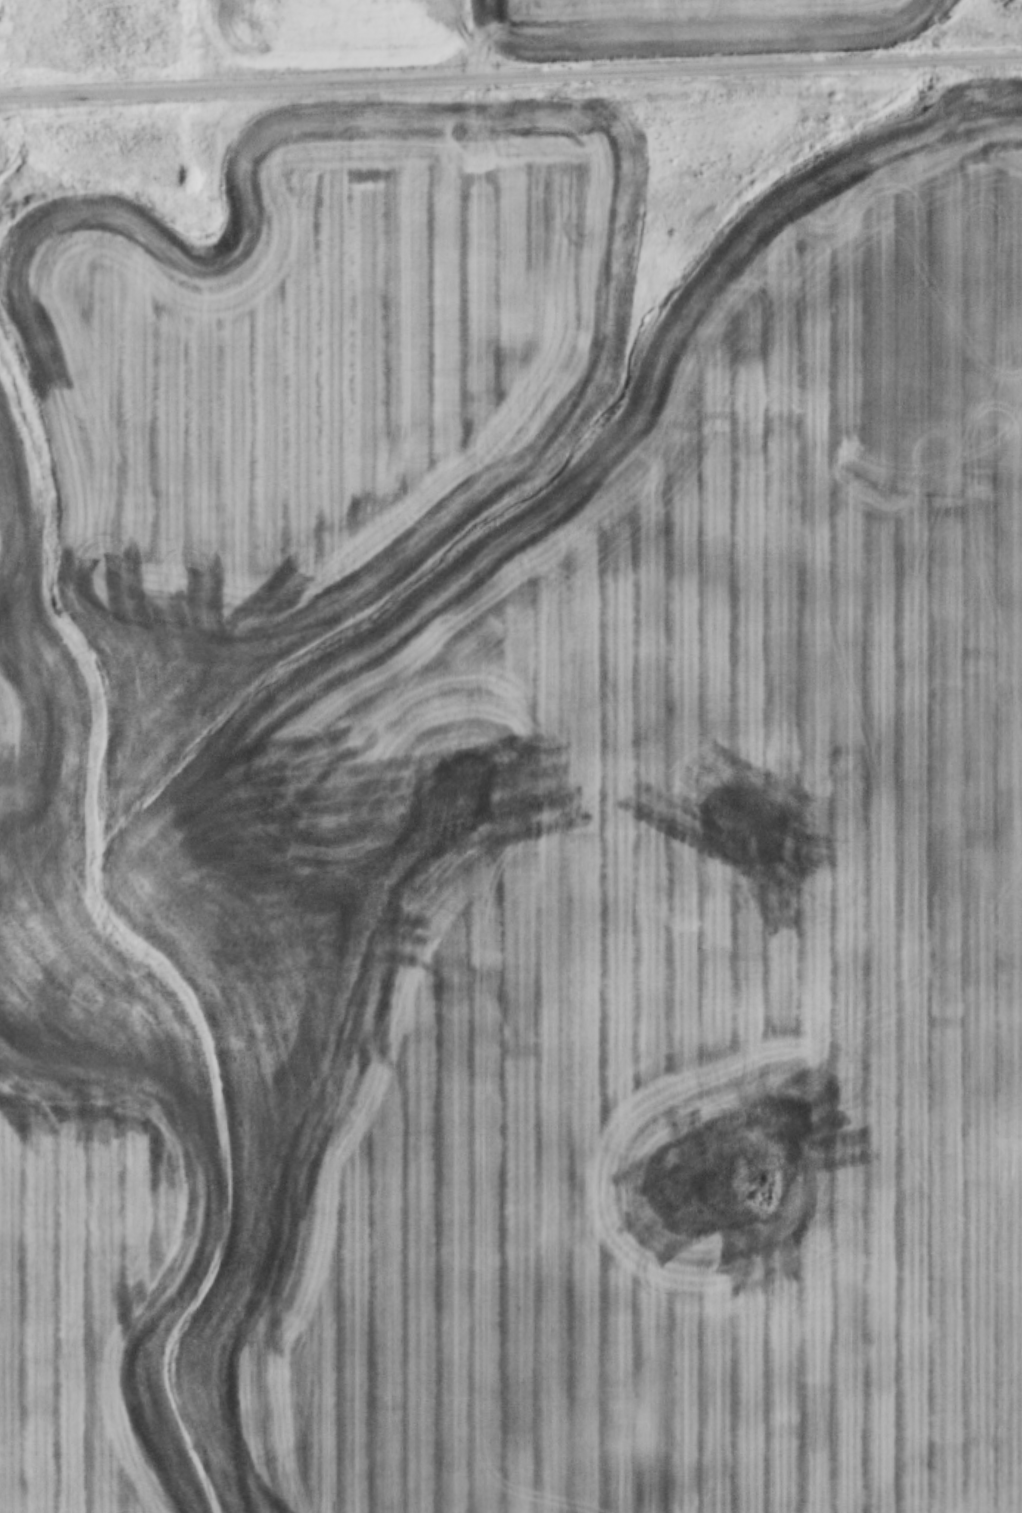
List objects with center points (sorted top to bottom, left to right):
road: (510, 71)

